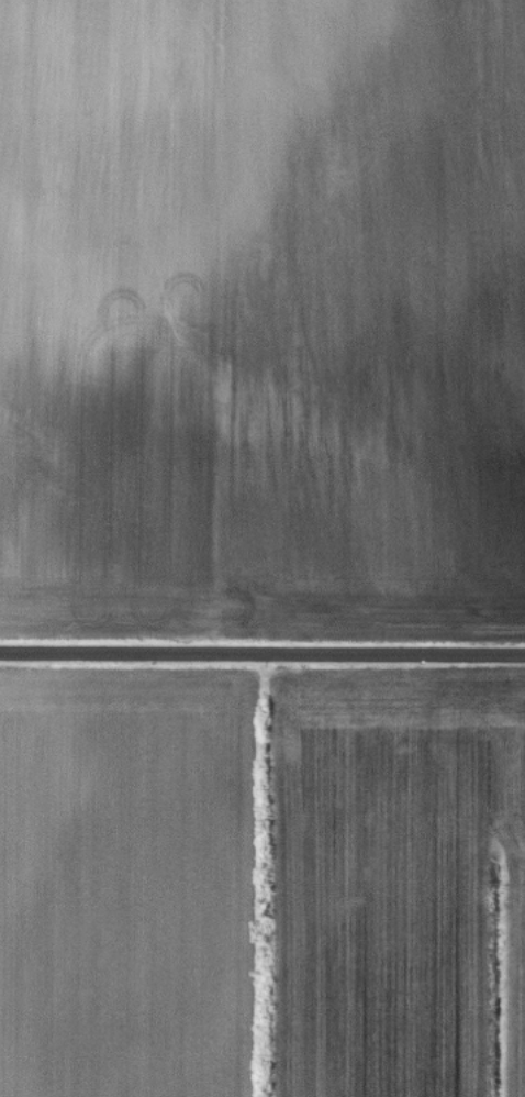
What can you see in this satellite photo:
road: (262, 647)

